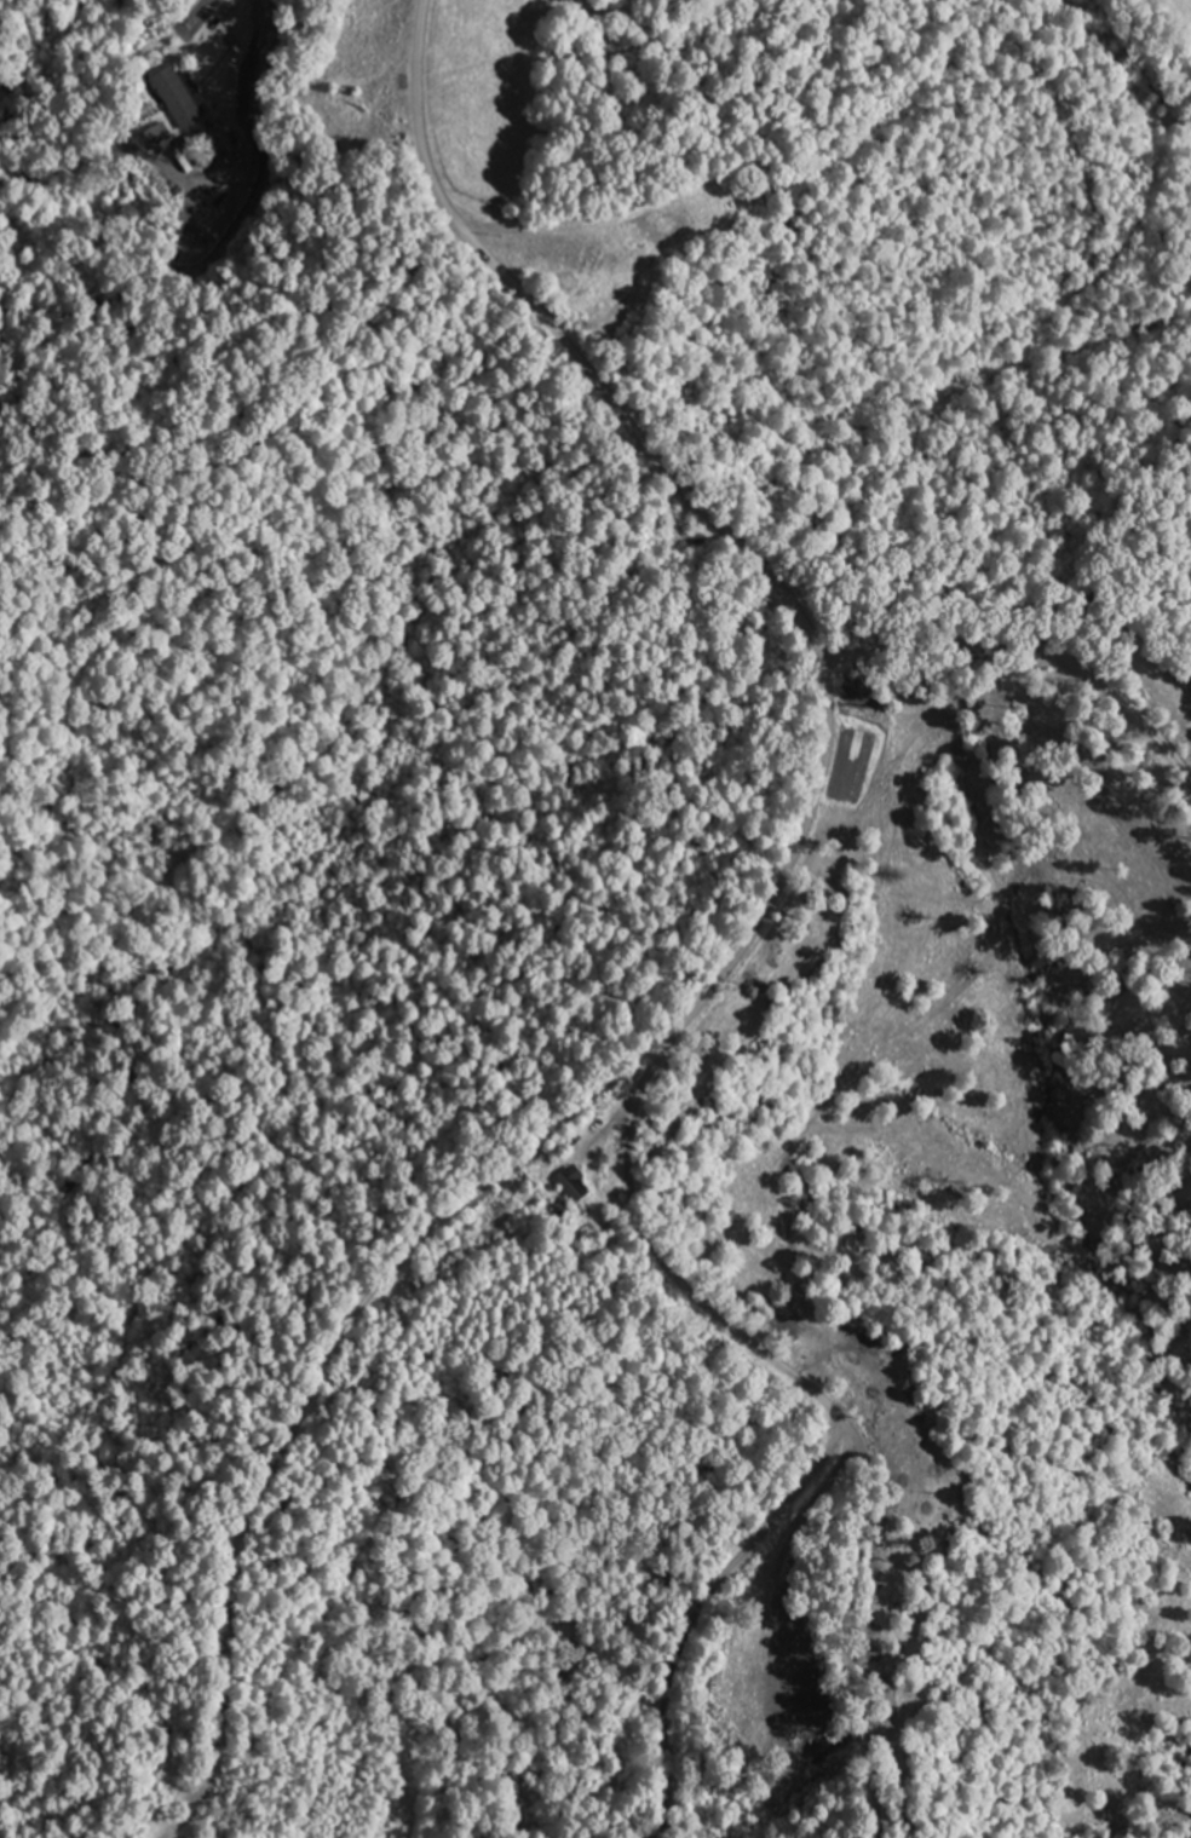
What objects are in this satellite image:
building: (176, 97)
building: (154, 139)
road: (1030, 647)
road: (746, 947)
building: (565, 1185)
building: (456, 1231)
road: (822, 1400)
road: (701, 1614)

